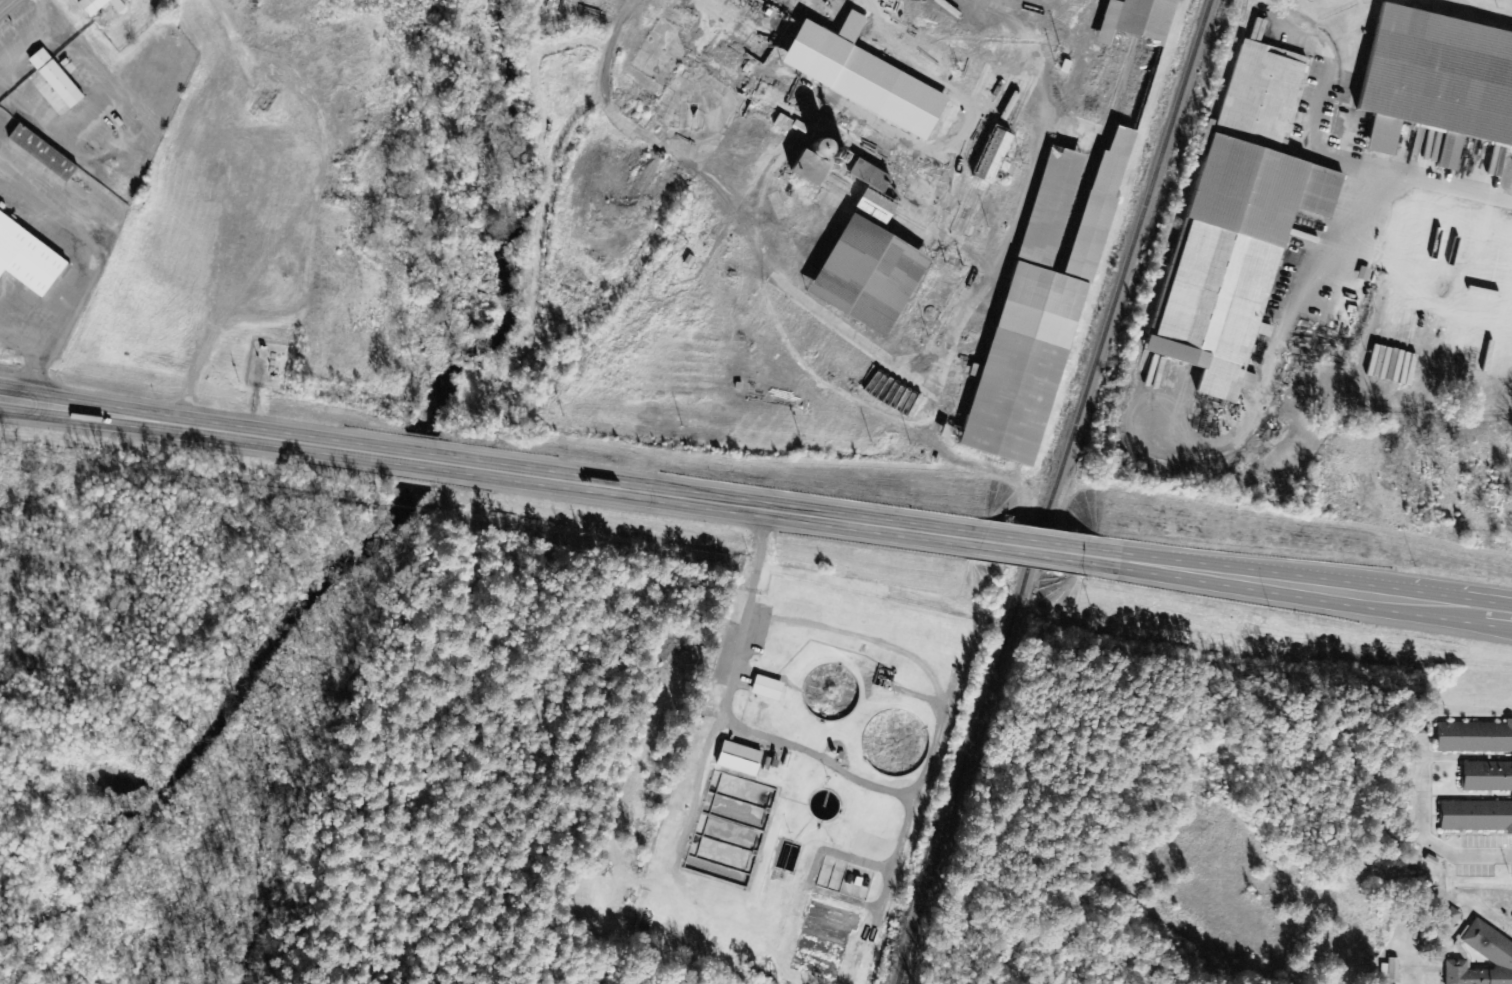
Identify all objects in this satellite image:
road: (0, 0)
building: (102, 5)
building: (1130, 19)
building: (60, 79)
building: (1434, 81)
building: (779, 122)
building: (48, 154)
building: (808, 158)
road: (1362, 167)
building: (862, 175)
building: (869, 204)
building: (1234, 221)
building: (29, 258)
building: (860, 274)
building: (1035, 306)
building: (1388, 365)
road: (92, 408)
road: (92, 416)
road: (578, 483)
railway: (1052, 491)
road: (1021, 548)
road: (1291, 587)
building: (763, 688)
building: (735, 759)
wastewater plant: (775, 774)
building: (1476, 776)
road: (1425, 839)
building: (1447, 917)
building: (1492, 952)

